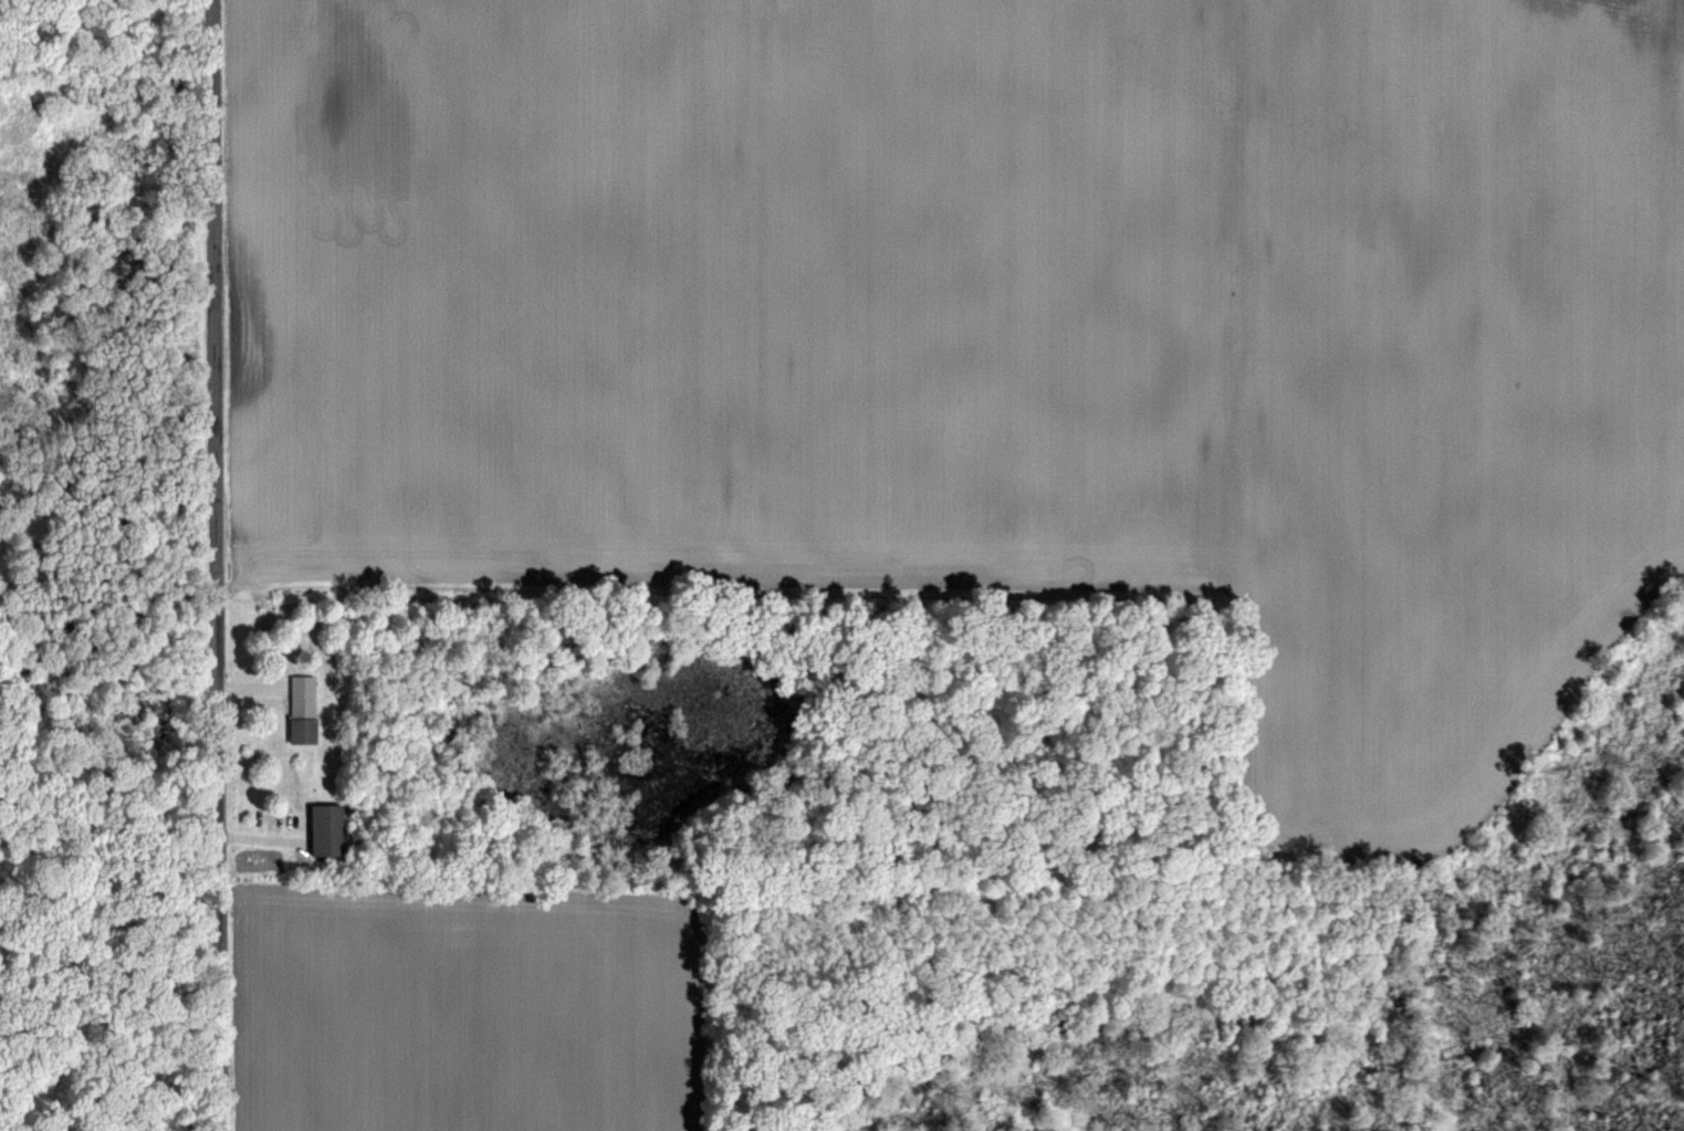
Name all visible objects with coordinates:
road: (207, 565)
building: (304, 710)
building: (330, 829)

